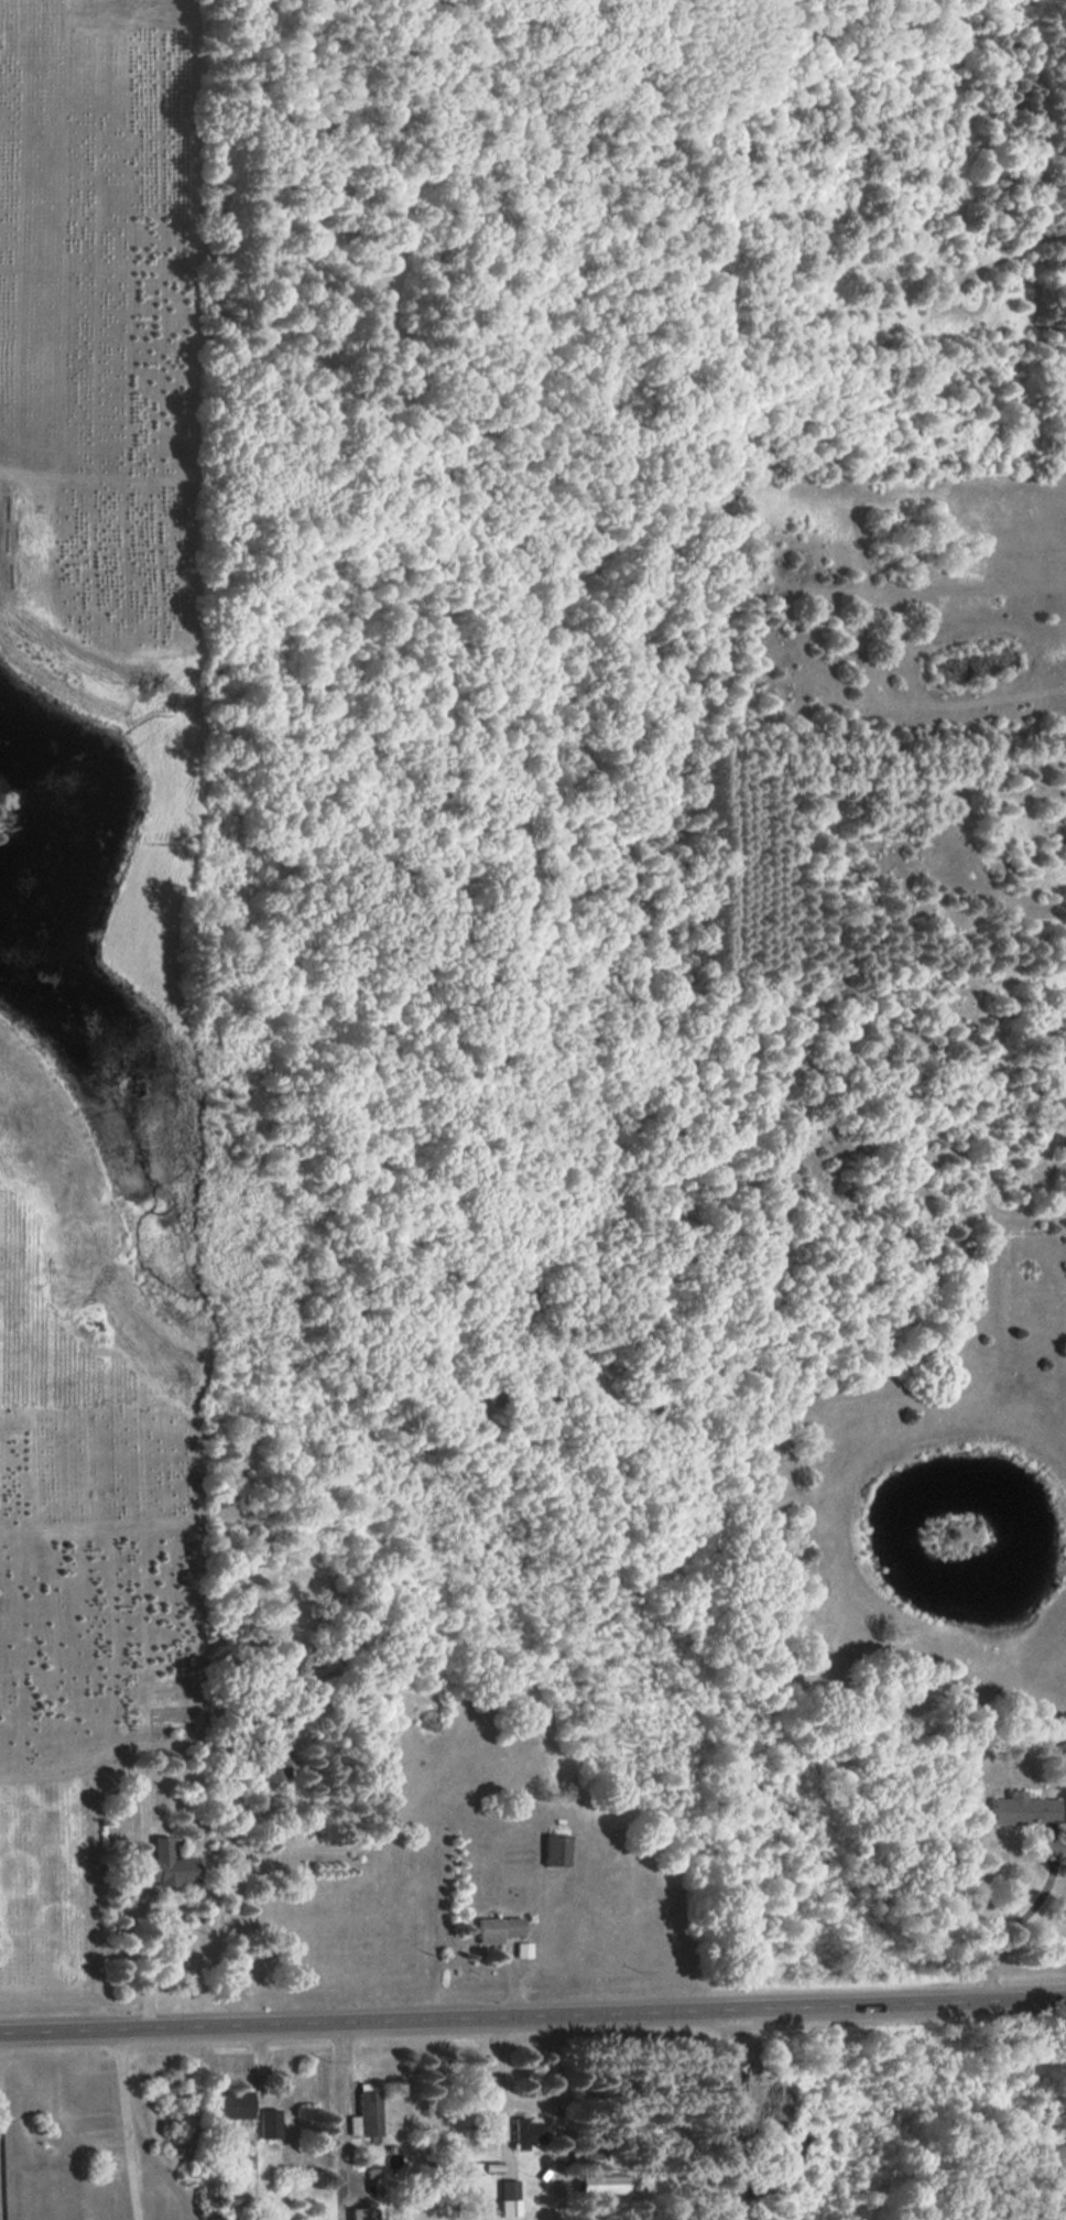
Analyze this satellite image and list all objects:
building: (273, 1756)
building: (1023, 1809)
building: (555, 1850)
building: (164, 1865)
road: (1025, 1915)
building: (497, 1928)
building: (522, 1949)
road: (145, 1964)
road: (532, 2013)
road: (526, 2103)
building: (230, 2104)
building: (366, 2111)
road: (337, 2120)
building: (268, 2123)
road: (124, 2124)
building: (526, 2133)
building: (508, 2197)

